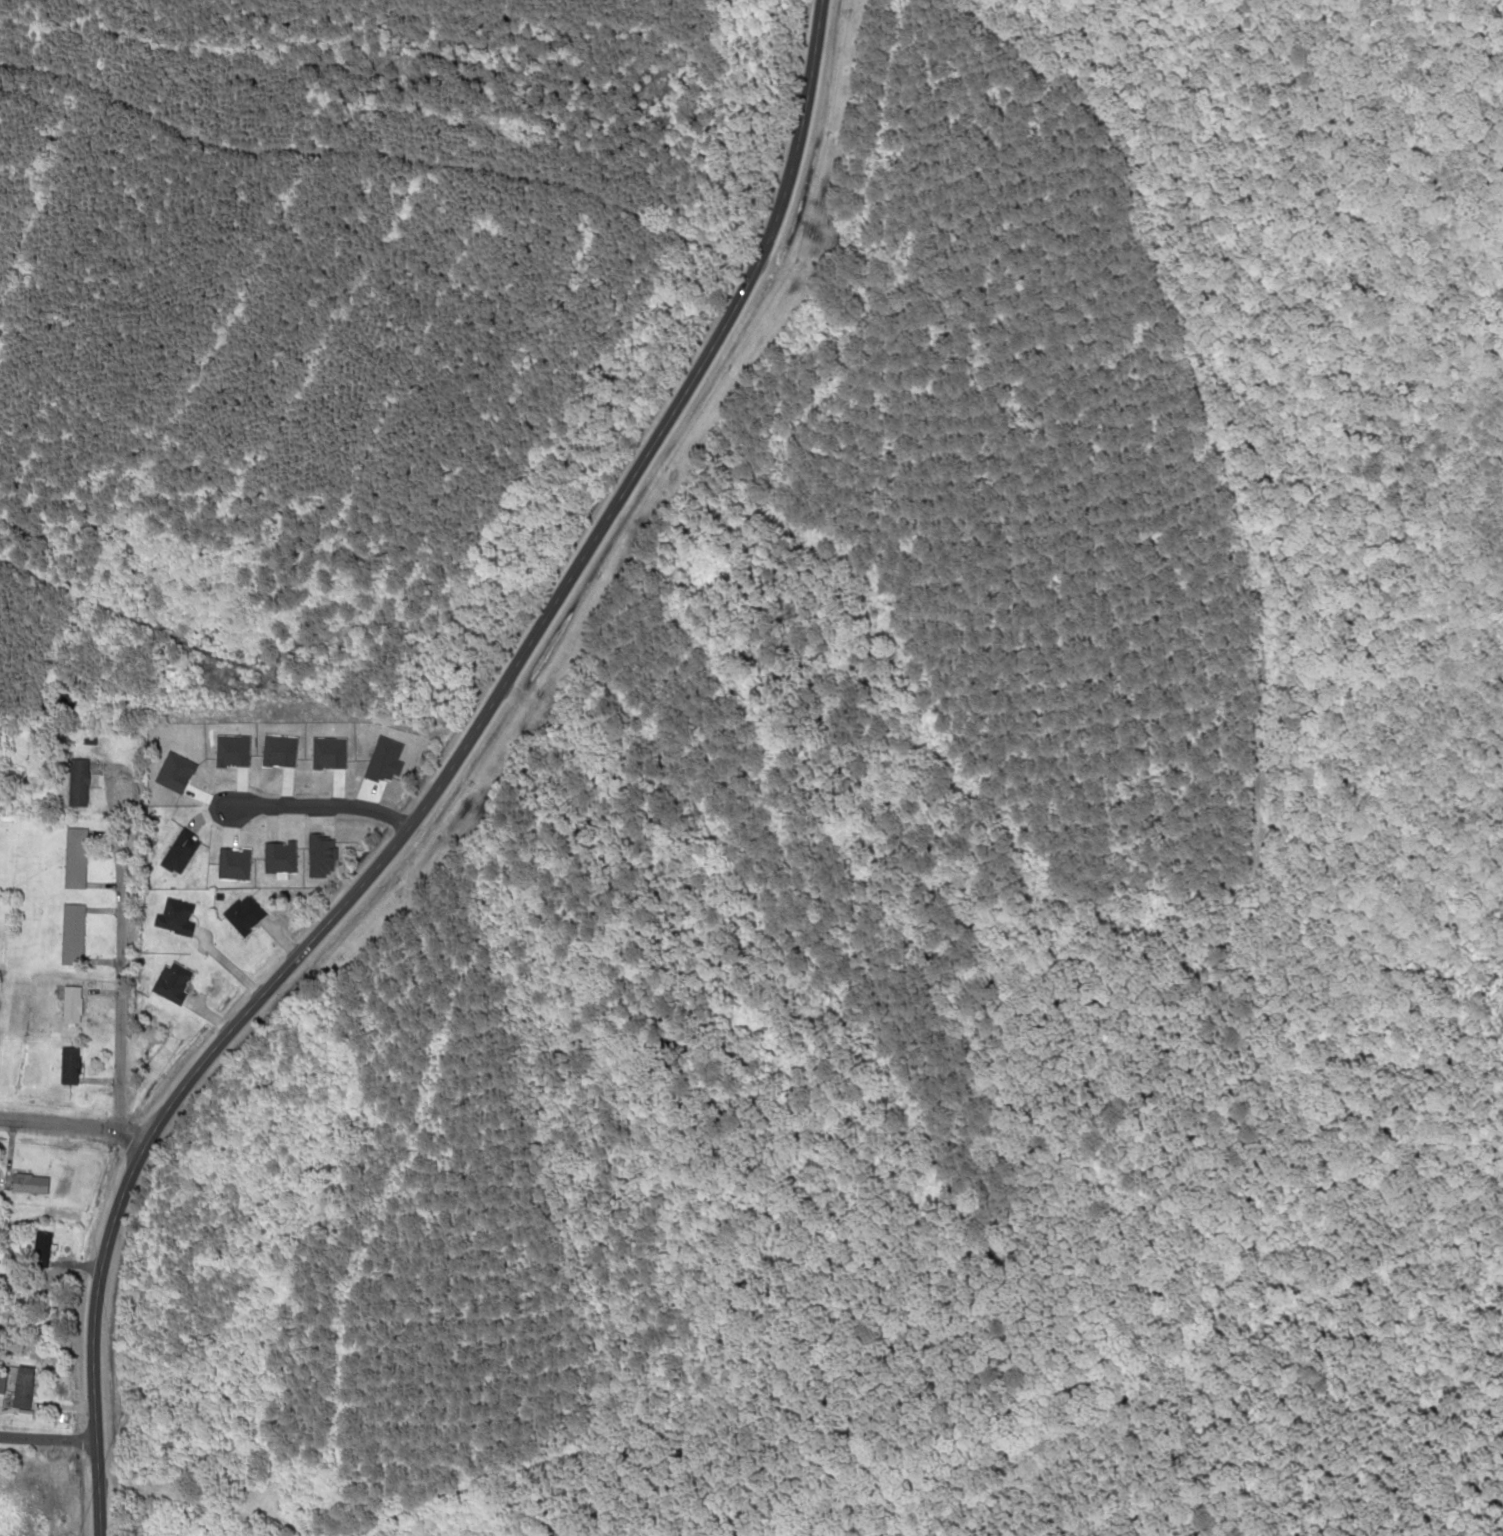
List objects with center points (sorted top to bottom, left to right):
building: (87, 739)
road: (439, 777)
building: (78, 781)
building: (180, 847)
building: (75, 858)
road: (117, 880)
building: (244, 913)
building: (175, 914)
building: (70, 933)
building: (170, 979)
building: (70, 1003)
building: (68, 1066)
road: (70, 1123)
building: (27, 1182)
building: (1, 1378)
building: (21, 1387)
road: (46, 1438)

